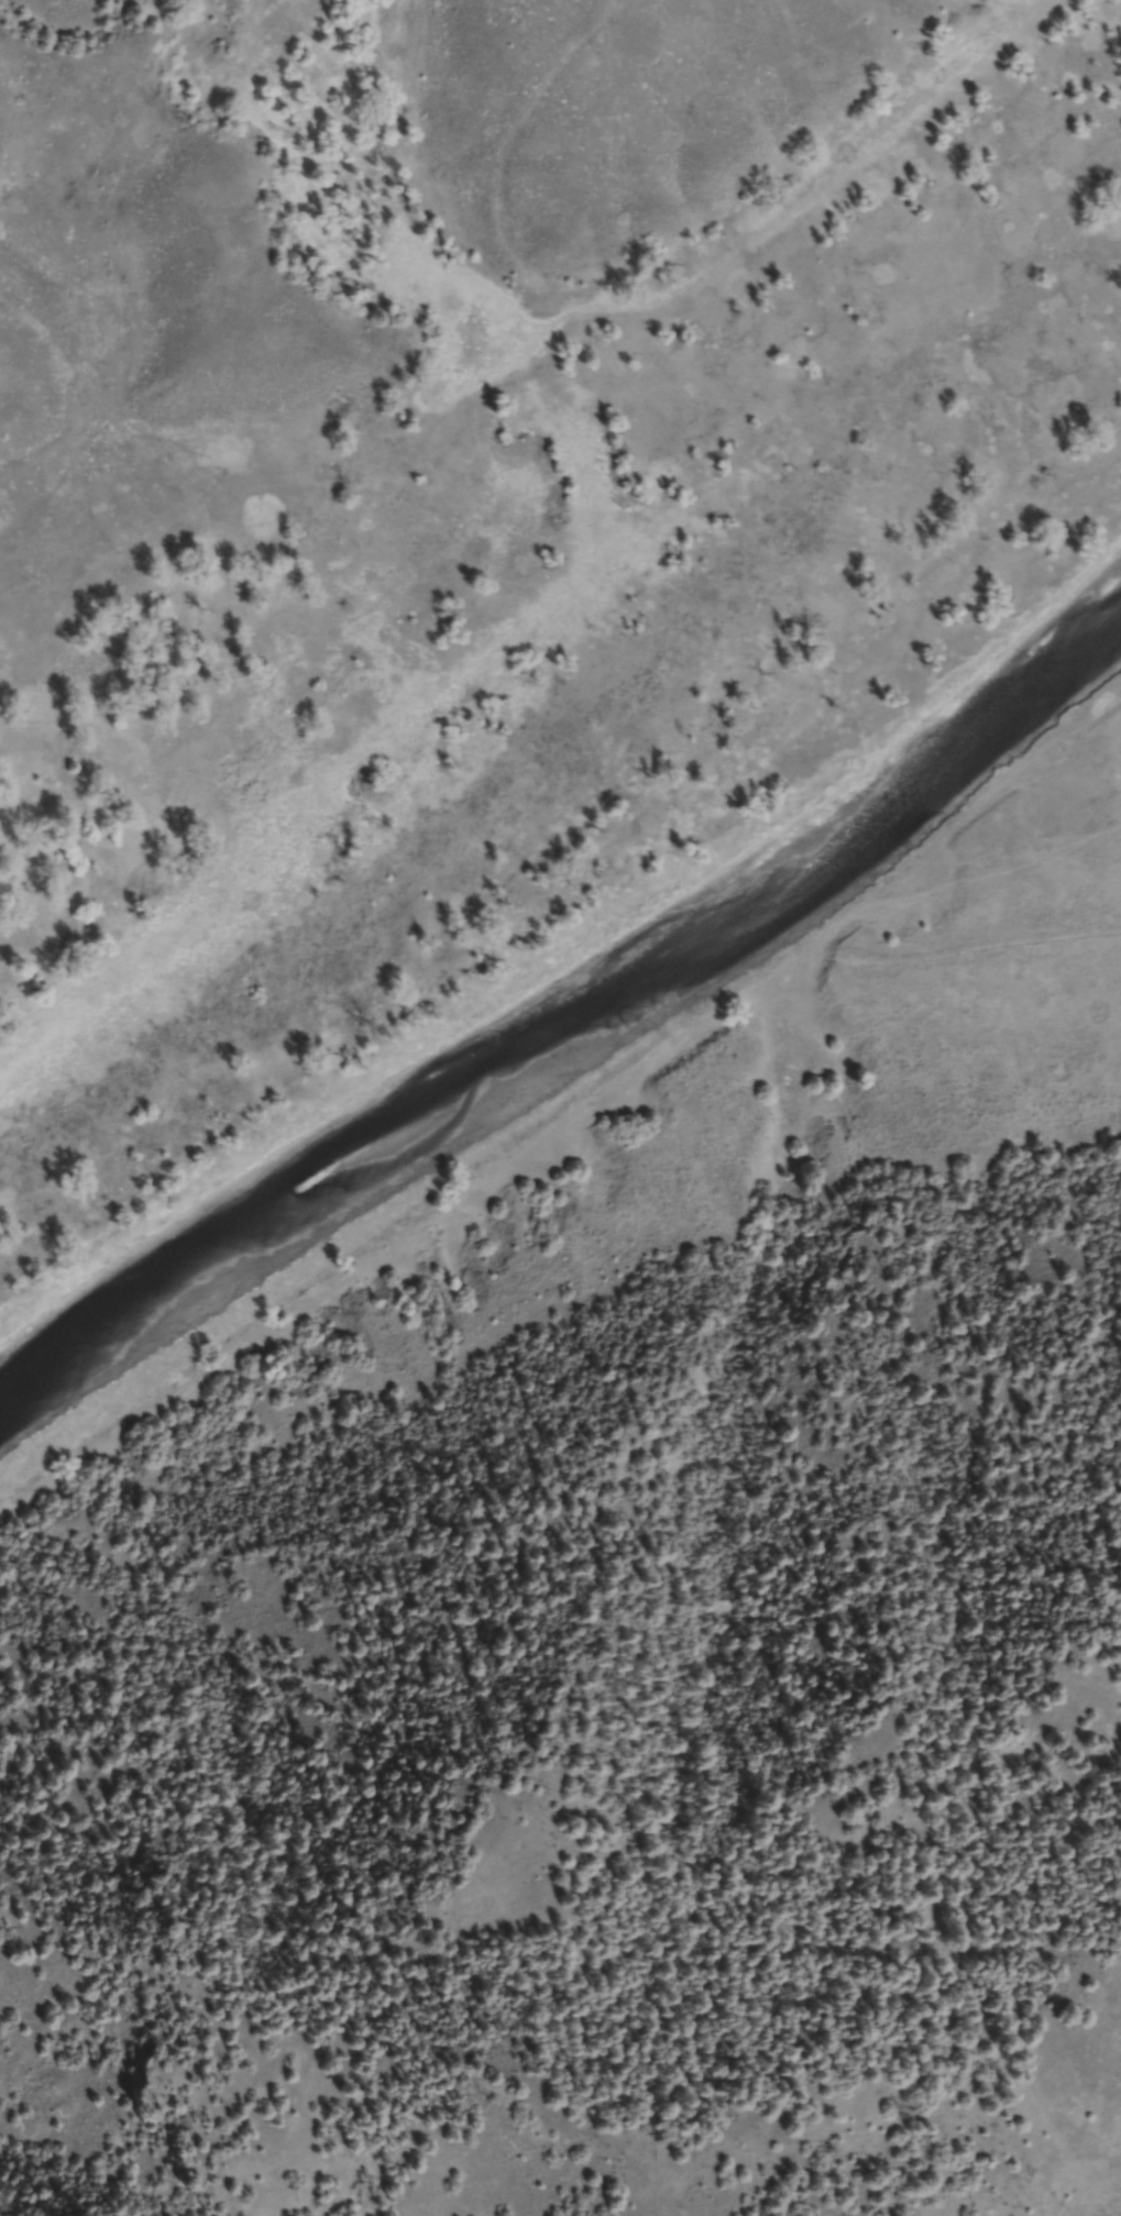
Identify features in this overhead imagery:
park: (492, 539)
river: (568, 1035)

